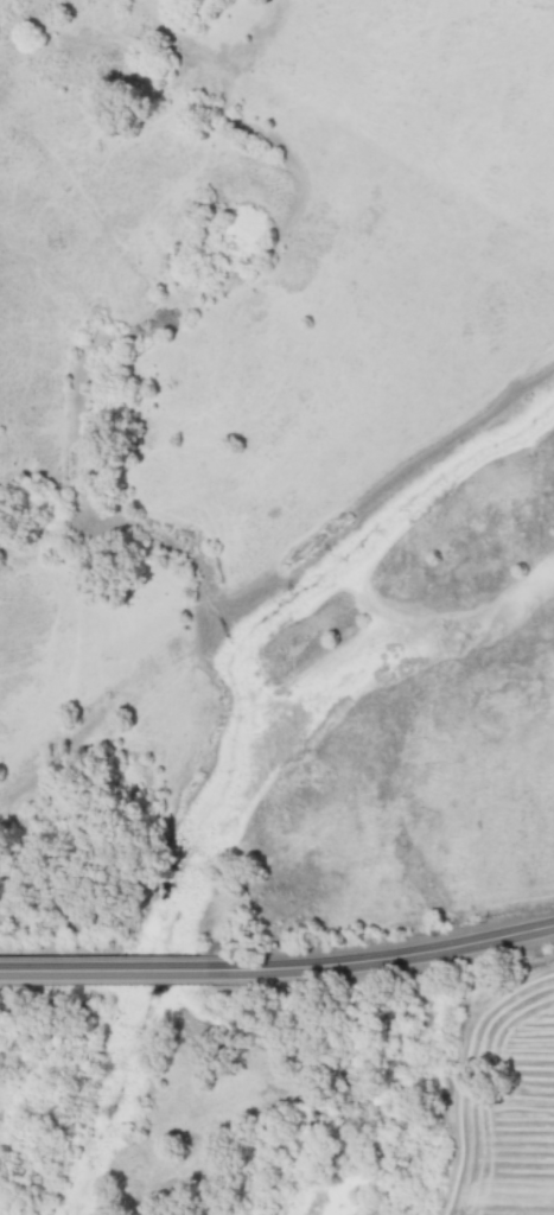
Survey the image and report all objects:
road: (279, 967)
crop: (79, 1043)

